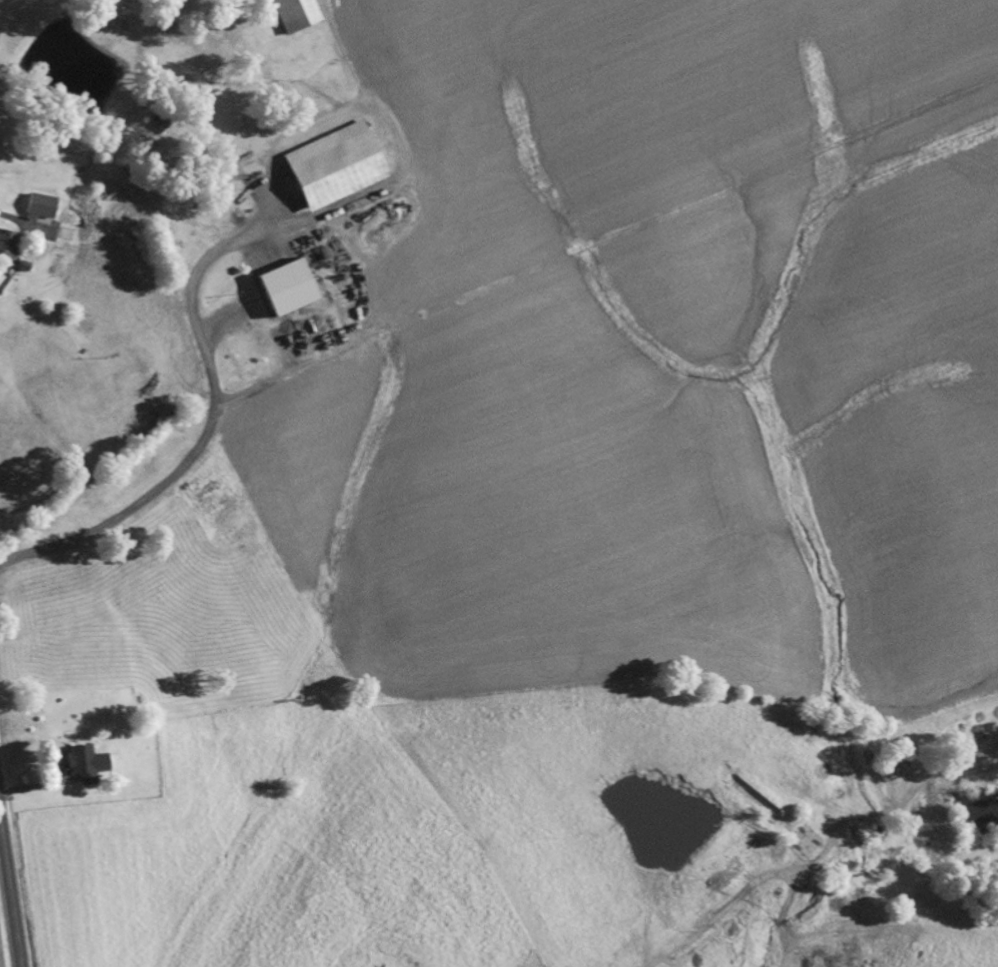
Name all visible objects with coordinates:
building: (290, 15)
building: (334, 161)
building: (35, 208)
building: (5, 247)
building: (287, 286)
road: (206, 432)
building: (81, 764)
road: (10, 889)

